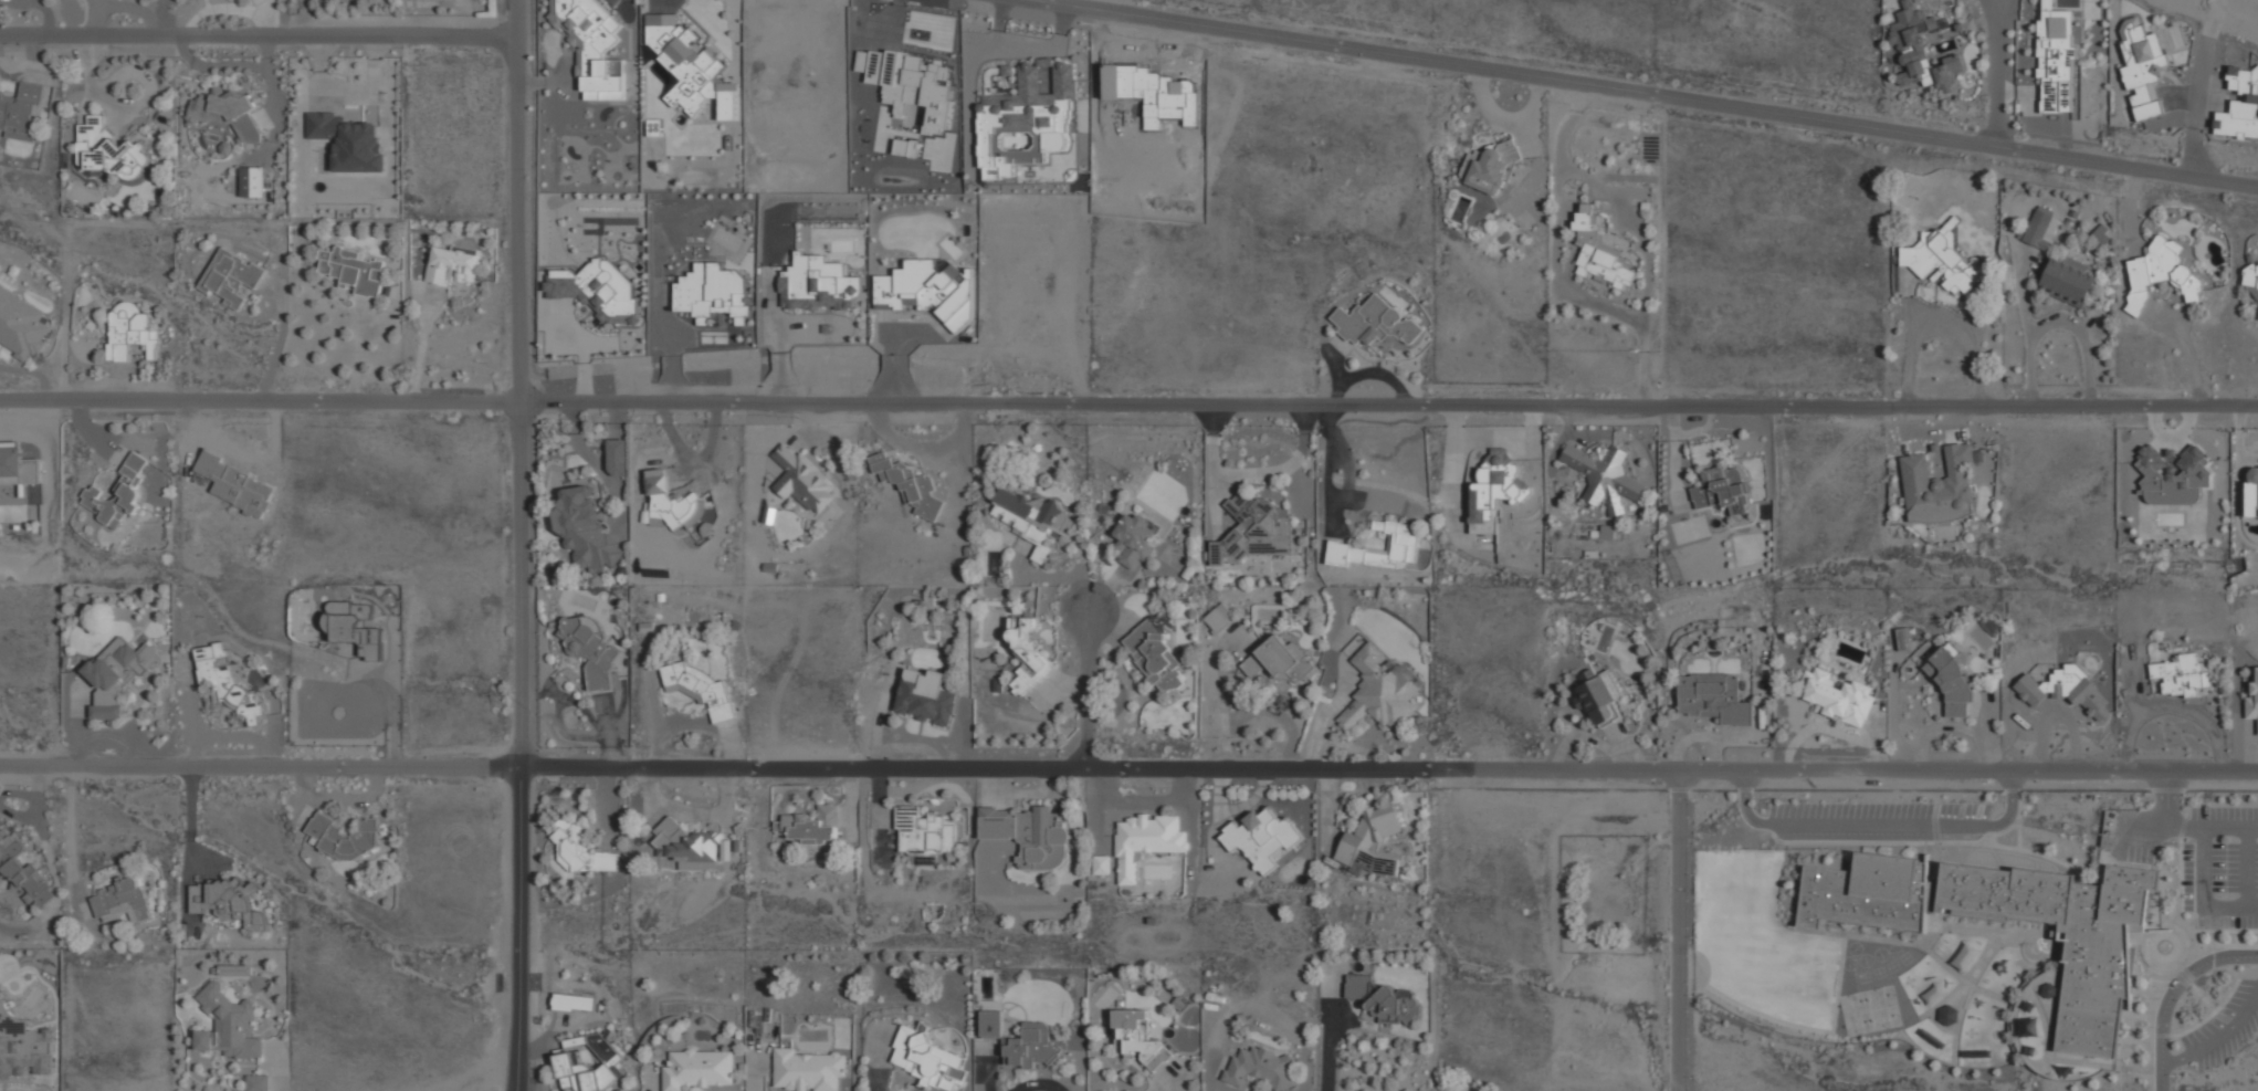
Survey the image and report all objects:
road: (258, 34)
building: (592, 45)
building: (1920, 53)
building: (2055, 59)
road: (2207, 62)
building: (685, 63)
road: (1999, 73)
road: (1647, 92)
building: (727, 105)
building: (22, 109)
building: (227, 113)
building: (1027, 118)
building: (349, 141)
building: (106, 150)
road: (2197, 154)
building: (1490, 166)
building: (252, 181)
building: (2041, 228)
building: (1598, 253)
building: (1942, 258)
building: (452, 263)
building: (354, 270)
building: (2160, 273)
building: (231, 276)
building: (2250, 279)
building: (2068, 281)
building: (818, 284)
building: (596, 290)
building: (930, 290)
building: (713, 292)
road: (2024, 300)
road: (2058, 321)
building: (1375, 322)
road: (1941, 324)
building: (21, 325)
building: (130, 331)
road: (2189, 356)
road: (1128, 403)
building: (617, 458)
road: (1331, 470)
building: (1600, 470)
building: (2172, 470)
road: (1257, 476)
building: (1937, 476)
building: (800, 481)
building: (235, 484)
building: (910, 485)
building: (1494, 486)
building: (2254, 489)
building: (117, 493)
building: (1724, 494)
building: (669, 502)
building: (1030, 518)
building: (1252, 528)
building: (588, 535)
building: (1133, 537)
road: (519, 545)
building: (1382, 548)
building: (1219, 617)
building: (354, 627)
building: (1902, 639)
building: (591, 650)
building: (1027, 654)
building: (1154, 658)
building: (1280, 661)
building: (117, 674)
building: (2181, 674)
building: (1946, 676)
building: (227, 681)
building: (1384, 684)
building: (697, 688)
building: (2063, 688)
road: (1085, 690)
building: (1835, 695)
building: (1713, 696)
road: (391, 697)
building: (926, 697)
building: (1603, 699)
building: (2252, 702)
road: (1128, 767)
road: (2167, 798)
parking lot: (1877, 820)
road: (1880, 824)
building: (809, 826)
road: (2161, 826)
road: (2230, 827)
building: (924, 832)
building: (345, 836)
building: (1028, 836)
building: (1262, 838)
building: (1372, 839)
building: (685, 841)
building: (1144, 842)
building: (581, 849)
parking lot: (2201, 858)
building: (1101, 864)
road: (2247, 869)
building: (22, 871)
road: (2204, 894)
building: (123, 901)
building: (228, 902)
building: (1987, 917)
road: (1678, 931)
building: (1966, 956)
building: (238, 969)
road: (2172, 993)
building: (1934, 994)
building: (1383, 999)
building: (574, 1001)
building: (1946, 1015)
building: (991, 1022)
parking lot: (2224, 1024)
building: (229, 1026)
building: (1141, 1037)
road: (2218, 1039)
building: (22, 1046)
building: (1032, 1046)
building: (927, 1059)
building: (582, 1068)
building: (1261, 1068)
building: (697, 1069)
building: (808, 1070)
building: (258, 1082)

